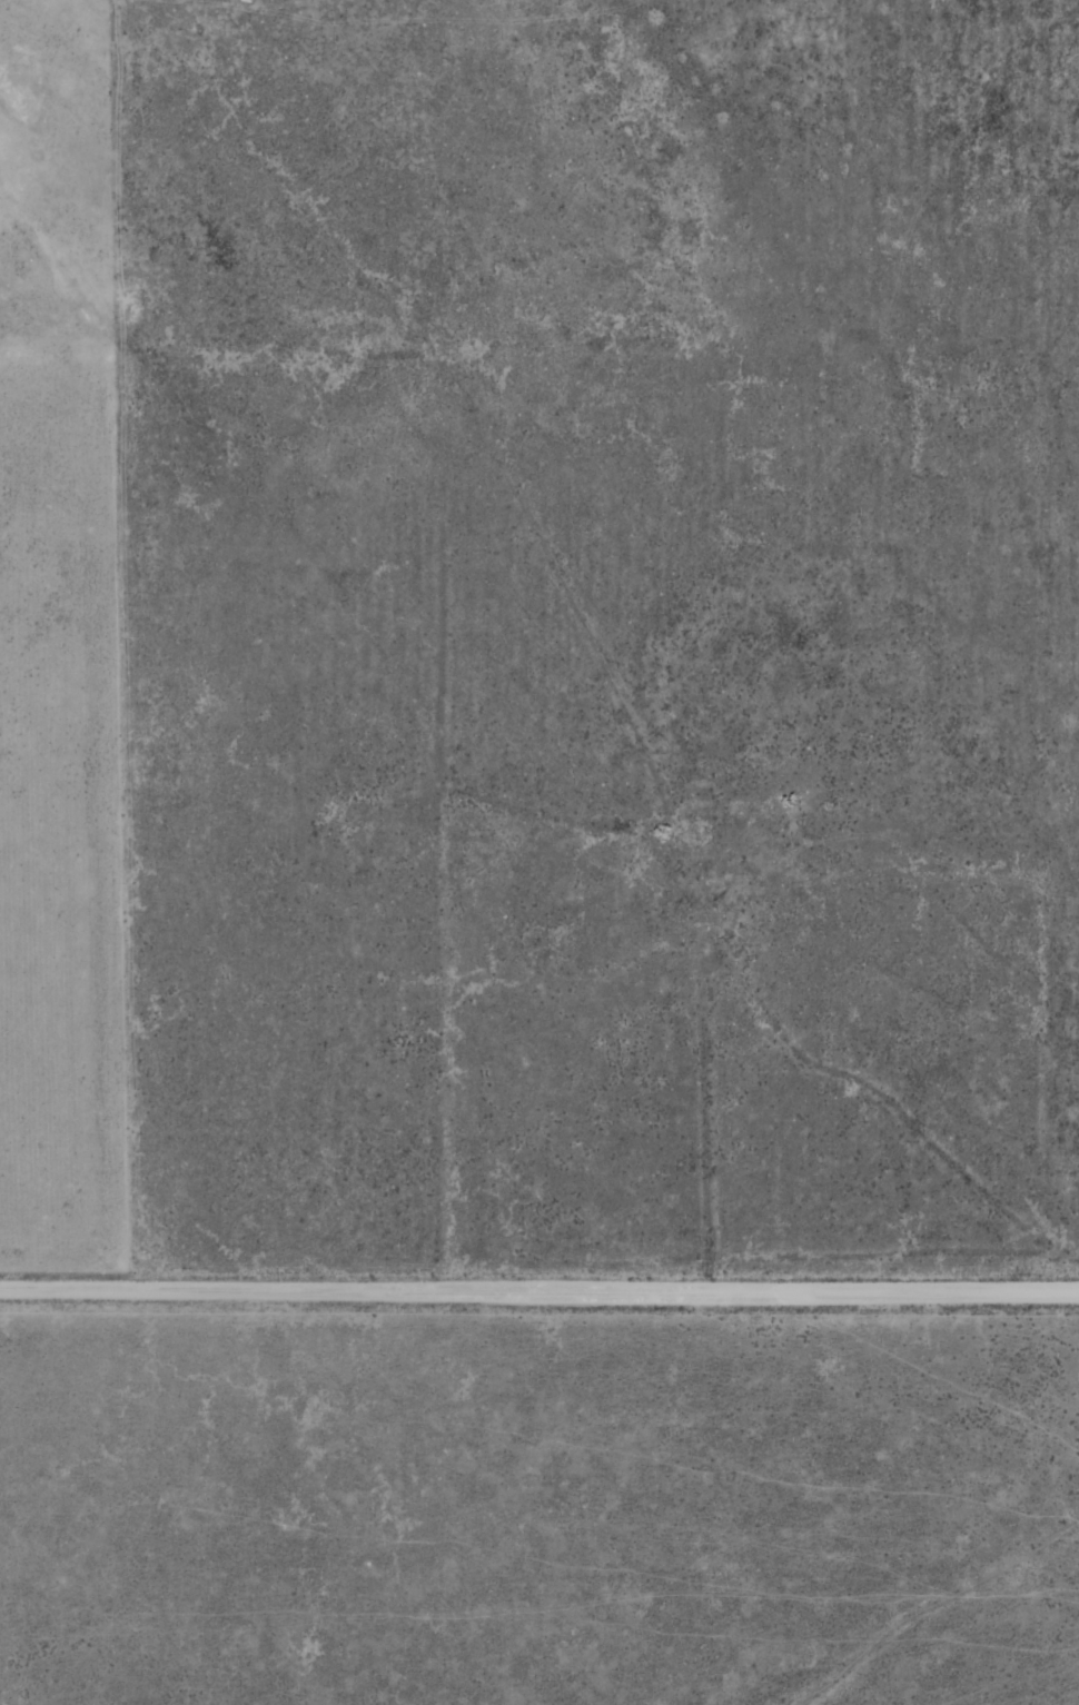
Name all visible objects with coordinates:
road: (539, 1296)

